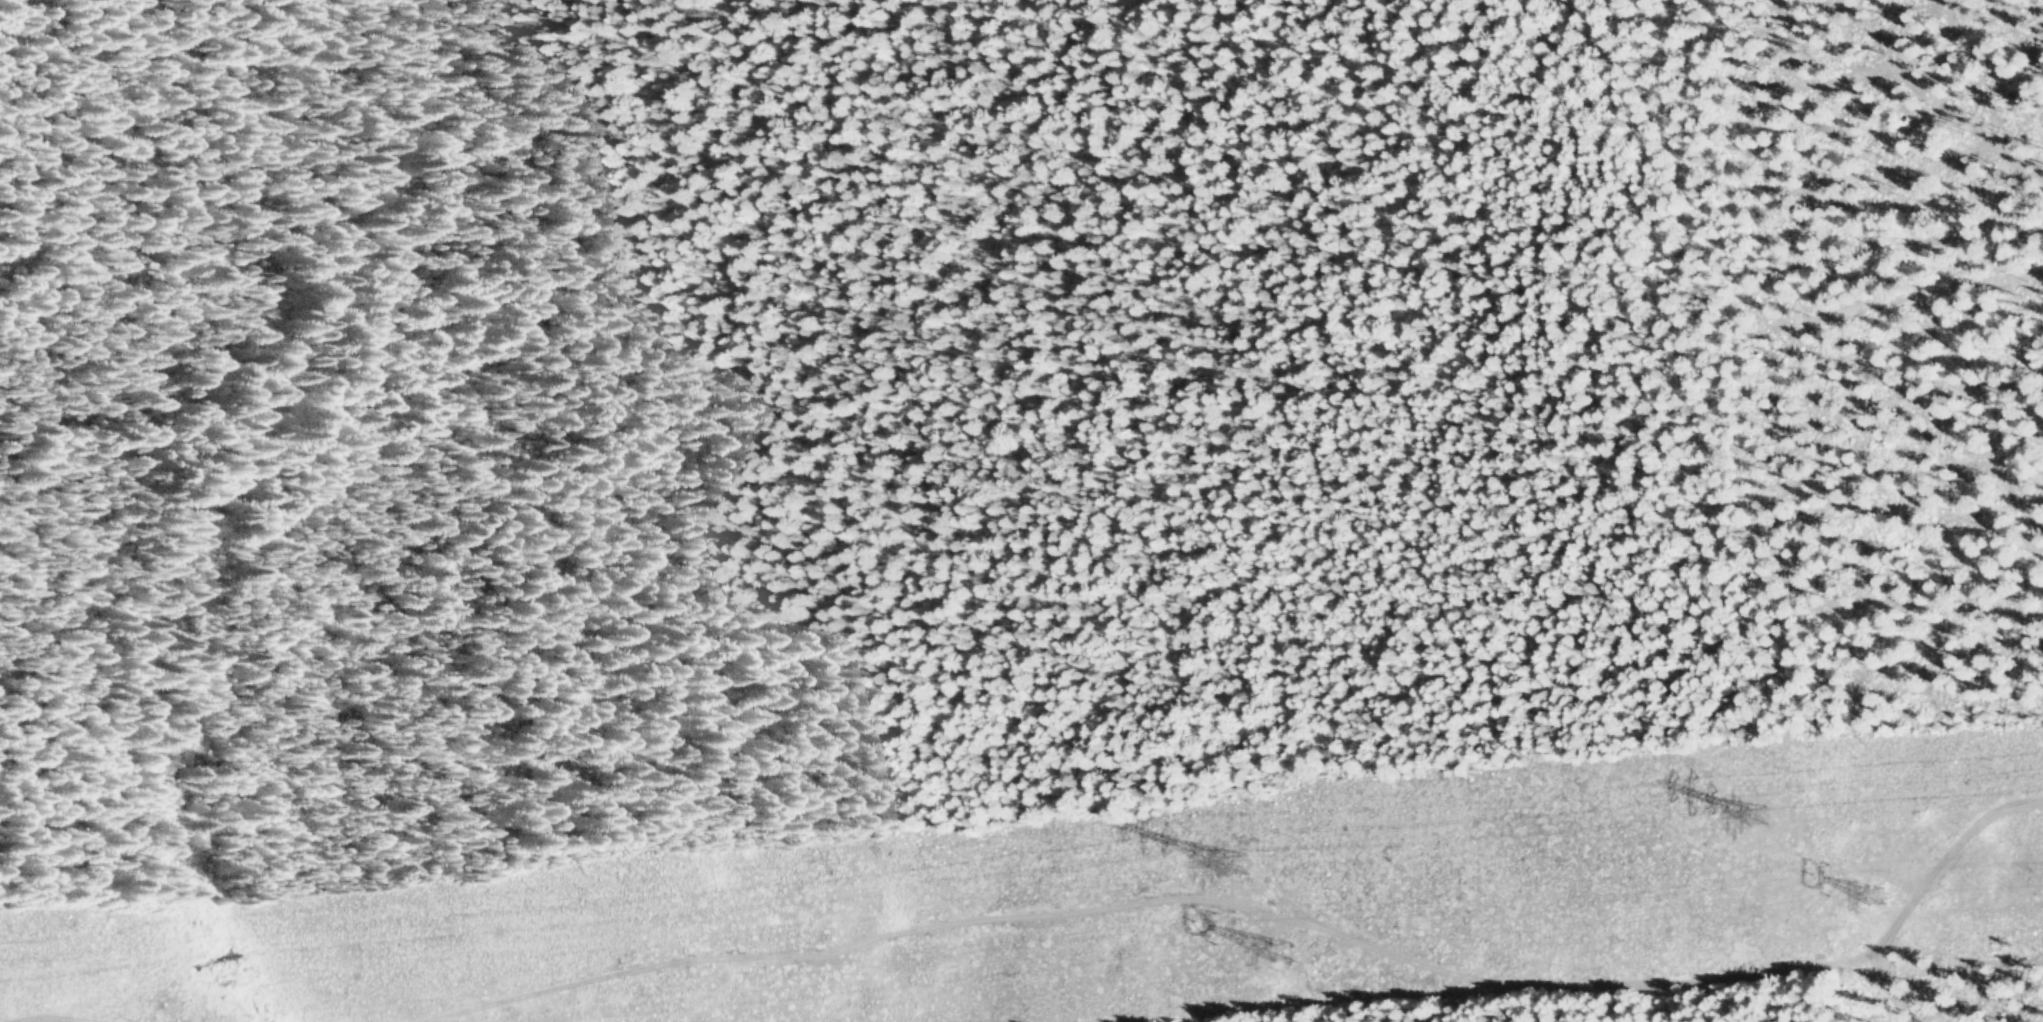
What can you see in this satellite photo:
power tower: (1768, 807)
power tower: (1240, 855)
power tower: (1874, 891)
road: (1260, 915)
power tower: (1280, 944)
road: (37, 1019)

